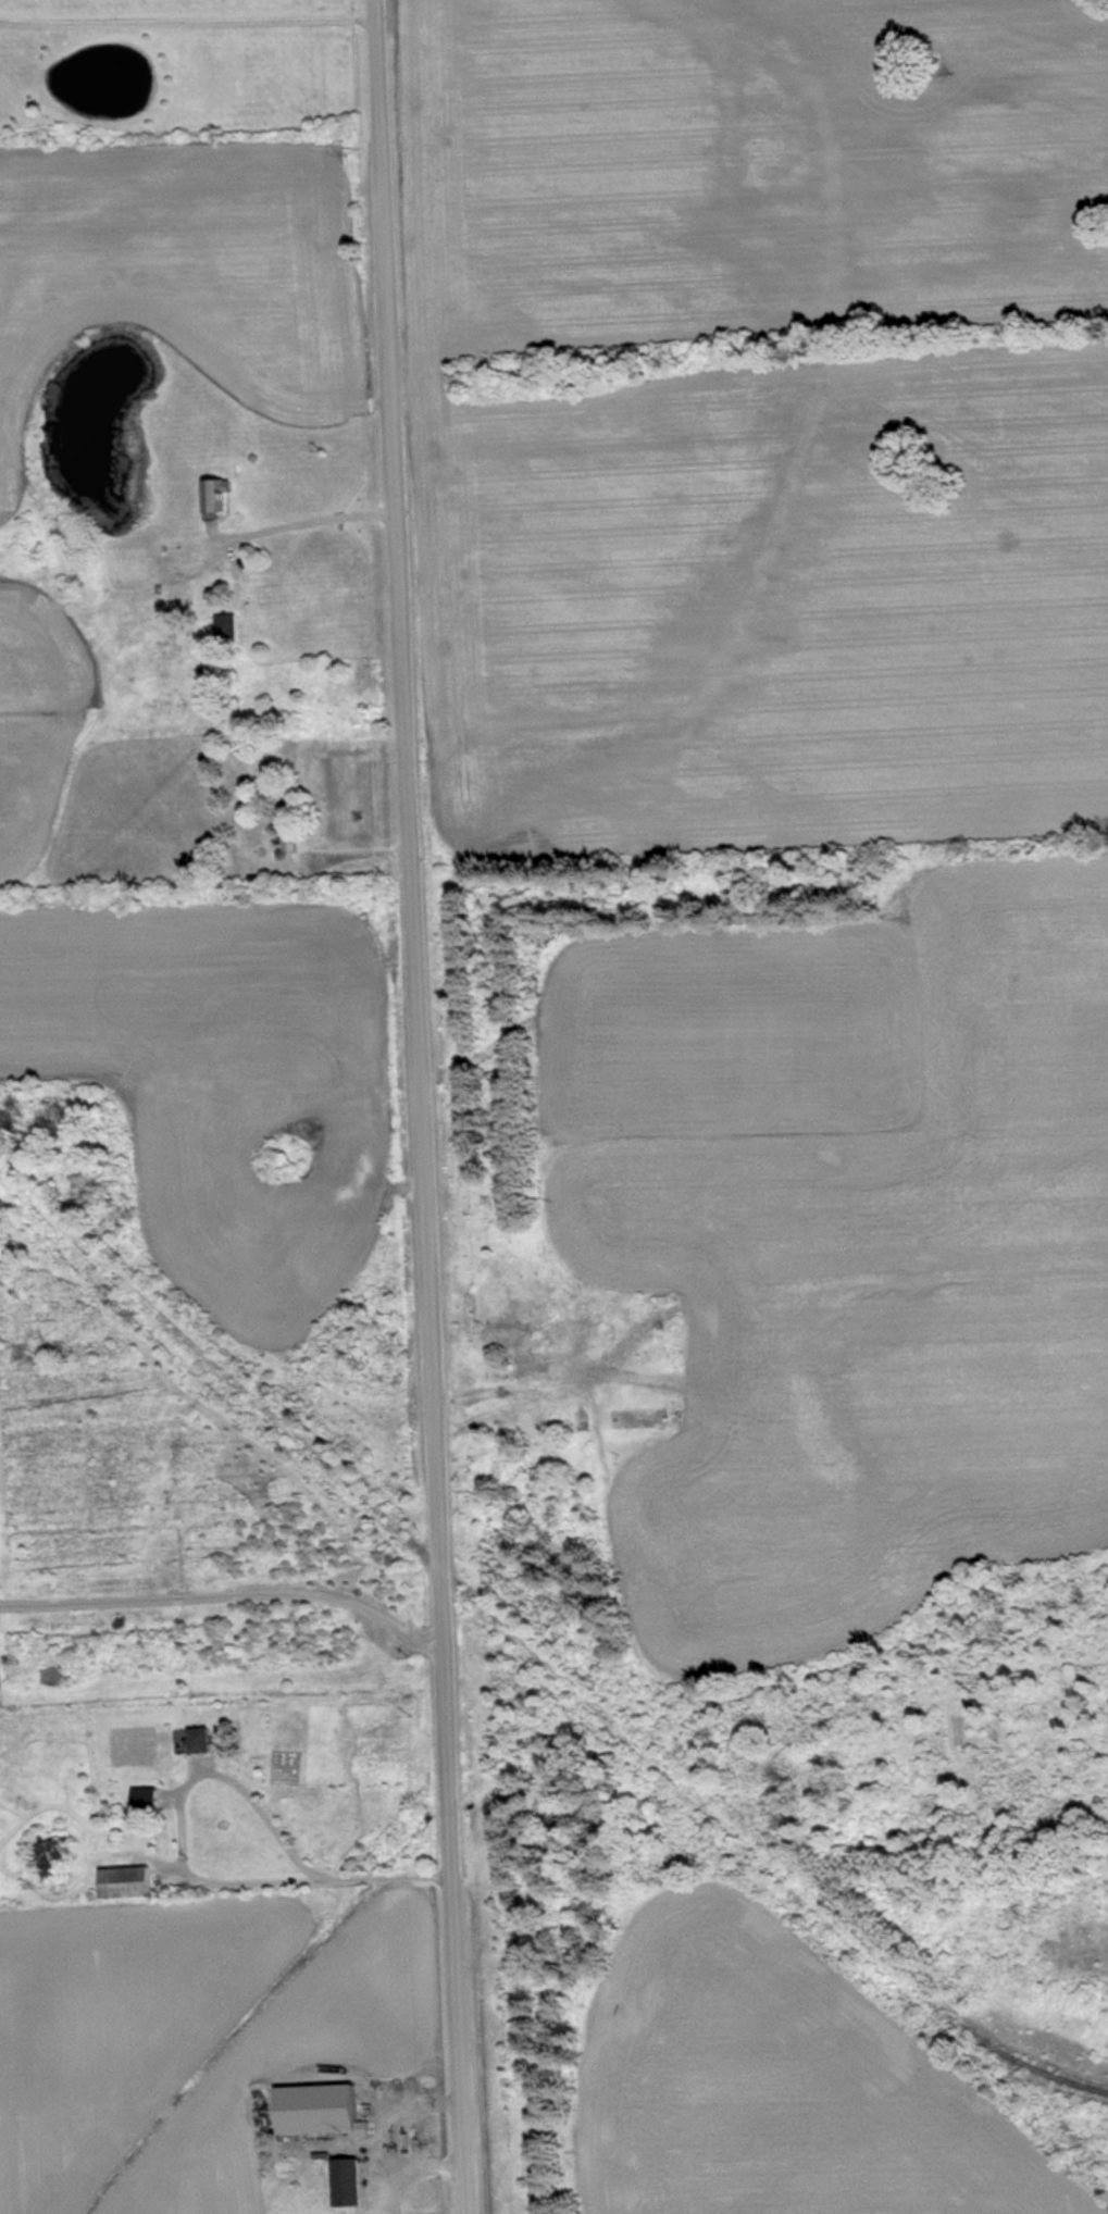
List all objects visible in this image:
building: (221, 494)
building: (231, 627)
building: (294, 826)
building: (206, 862)
road: (419, 1106)
railway: (459, 1587)
building: (199, 1740)
building: (61, 1857)
building: (132, 1881)
railway: (1010, 2055)
building: (353, 2181)

